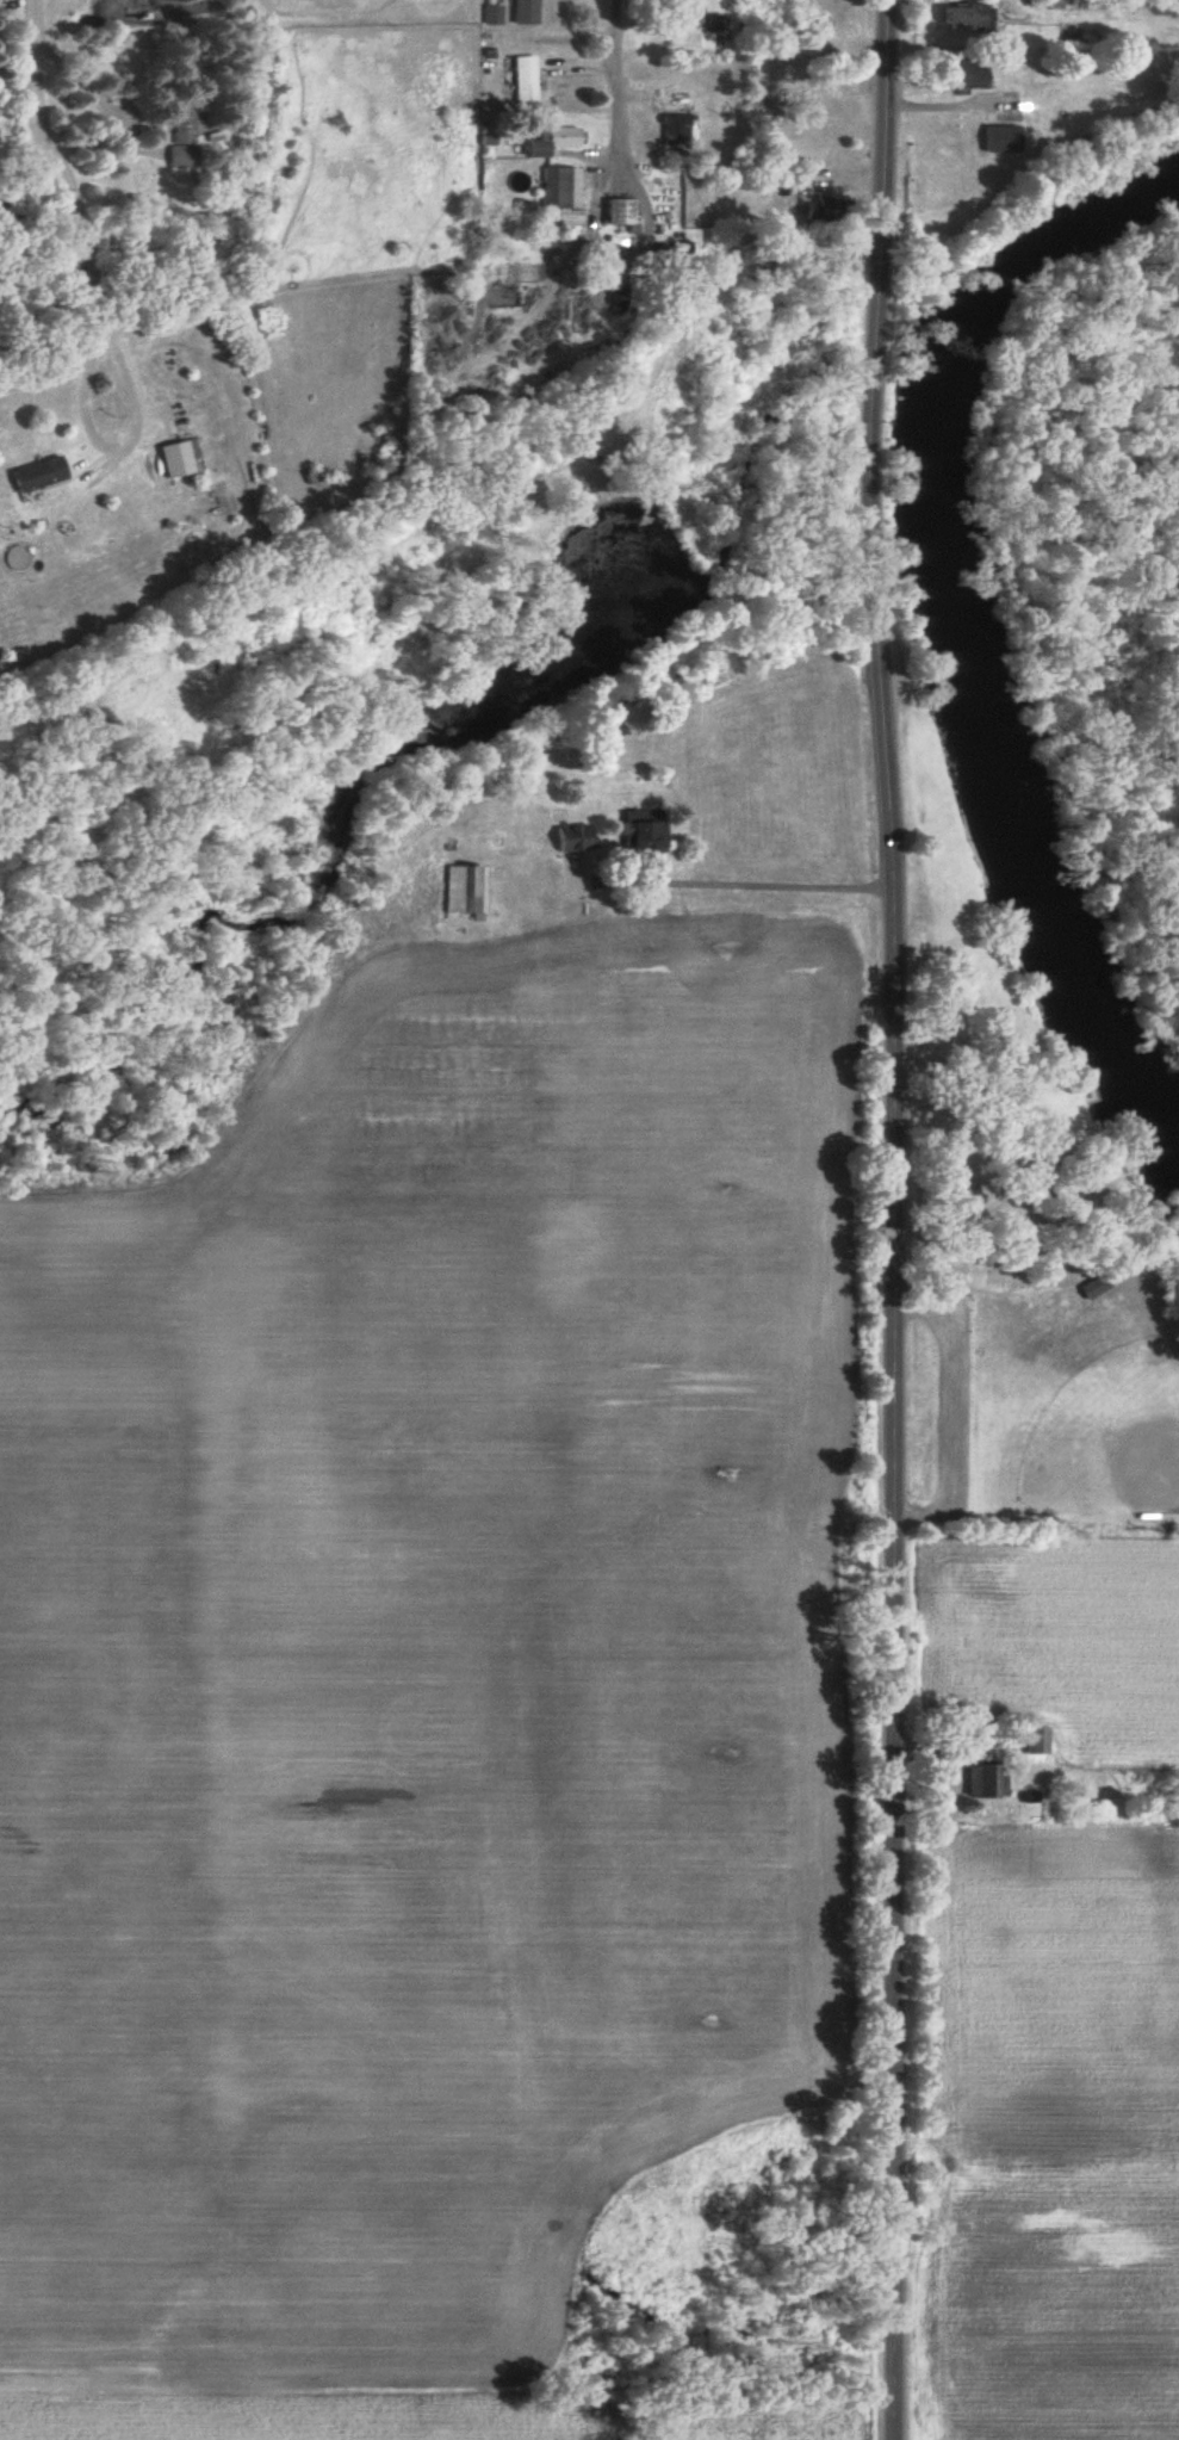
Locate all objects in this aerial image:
building: (526, 11)
building: (492, 14)
building: (827, 17)
building: (967, 17)
building: (963, 73)
road: (620, 75)
building: (523, 79)
road: (97, 85)
building: (682, 97)
building: (826, 107)
building: (674, 126)
building: (182, 137)
building: (997, 137)
building: (551, 140)
building: (774, 140)
road: (60, 165)
building: (817, 180)
building: (565, 185)
building: (818, 206)
building: (619, 210)
building: (681, 247)
road: (620, 248)
road: (118, 447)
building: (180, 458)
building: (38, 473)
building: (319, 473)
river: (974, 620)
road: (868, 673)
building: (635, 832)
building: (570, 836)
road: (769, 878)
building: (461, 888)
building: (546, 950)
road: (899, 1219)
park: (1017, 1220)
building: (1094, 1284)
road: (960, 1414)
building: (1029, 1739)
building: (981, 1779)

